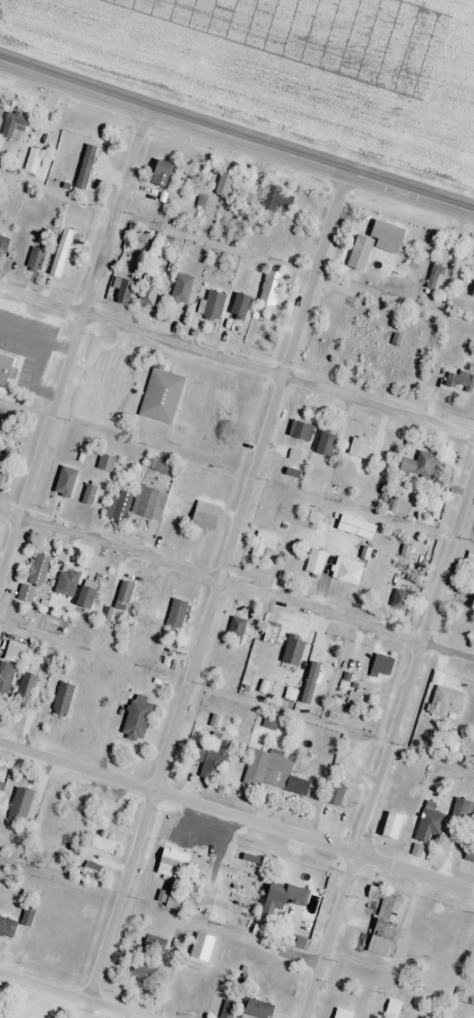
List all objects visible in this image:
building: (0, 109)
road: (237, 134)
building: (158, 174)
building: (221, 185)
building: (273, 206)
building: (371, 244)
building: (2, 245)
building: (58, 254)
building: (34, 260)
building: (271, 289)
building: (471, 290)
building: (120, 291)
building: (178, 294)
building: (146, 295)
building: (210, 305)
building: (238, 306)
building: (318, 345)
road: (77, 354)
road: (236, 360)
building: (4, 369)
building: (457, 382)
building: (160, 396)
building: (298, 431)
building: (323, 443)
building: (355, 448)
building: (104, 463)
building: (4, 464)
building: (417, 465)
building: (56, 484)
road: (253, 484)
building: (87, 494)
building: (147, 503)
building: (118, 505)
building: (397, 508)
building: (202, 518)
building: (261, 544)
building: (419, 555)
building: (312, 562)
building: (37, 570)
building: (343, 570)
building: (471, 575)
building: (65, 583)
building: (122, 593)
building: (85, 594)
road: (236, 594)
building: (395, 600)
building: (174, 613)
building: (235, 631)
building: (270, 633)
building: (325, 648)
building: (291, 650)
building: (12, 652)
building: (381, 665)
road: (414, 671)
building: (5, 677)
building: (25, 687)
building: (61, 699)
building: (442, 702)
building: (134, 721)
building: (210, 761)
building: (272, 773)
building: (1, 787)
building: (333, 794)
building: (19, 805)
building: (458, 812)
road: (236, 821)
building: (387, 825)
building: (426, 827)
building: (467, 852)
building: (176, 864)
building: (91, 869)
building: (277, 896)
road: (121, 900)
building: (173, 901)
building: (383, 923)
building: (3, 926)
road: (331, 938)
building: (152, 948)
building: (198, 951)
road: (65, 998)
building: (244, 1008)

